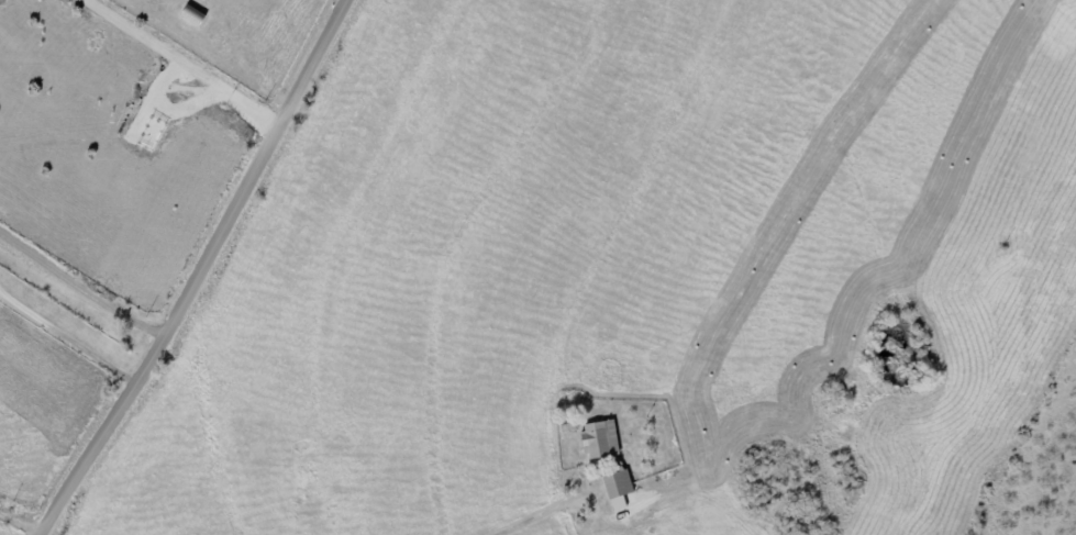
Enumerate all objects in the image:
building: (193, 15)
road: (191, 267)
road: (78, 282)
road: (65, 336)
building: (601, 441)
building: (620, 486)
road: (539, 513)
road: (15, 526)

